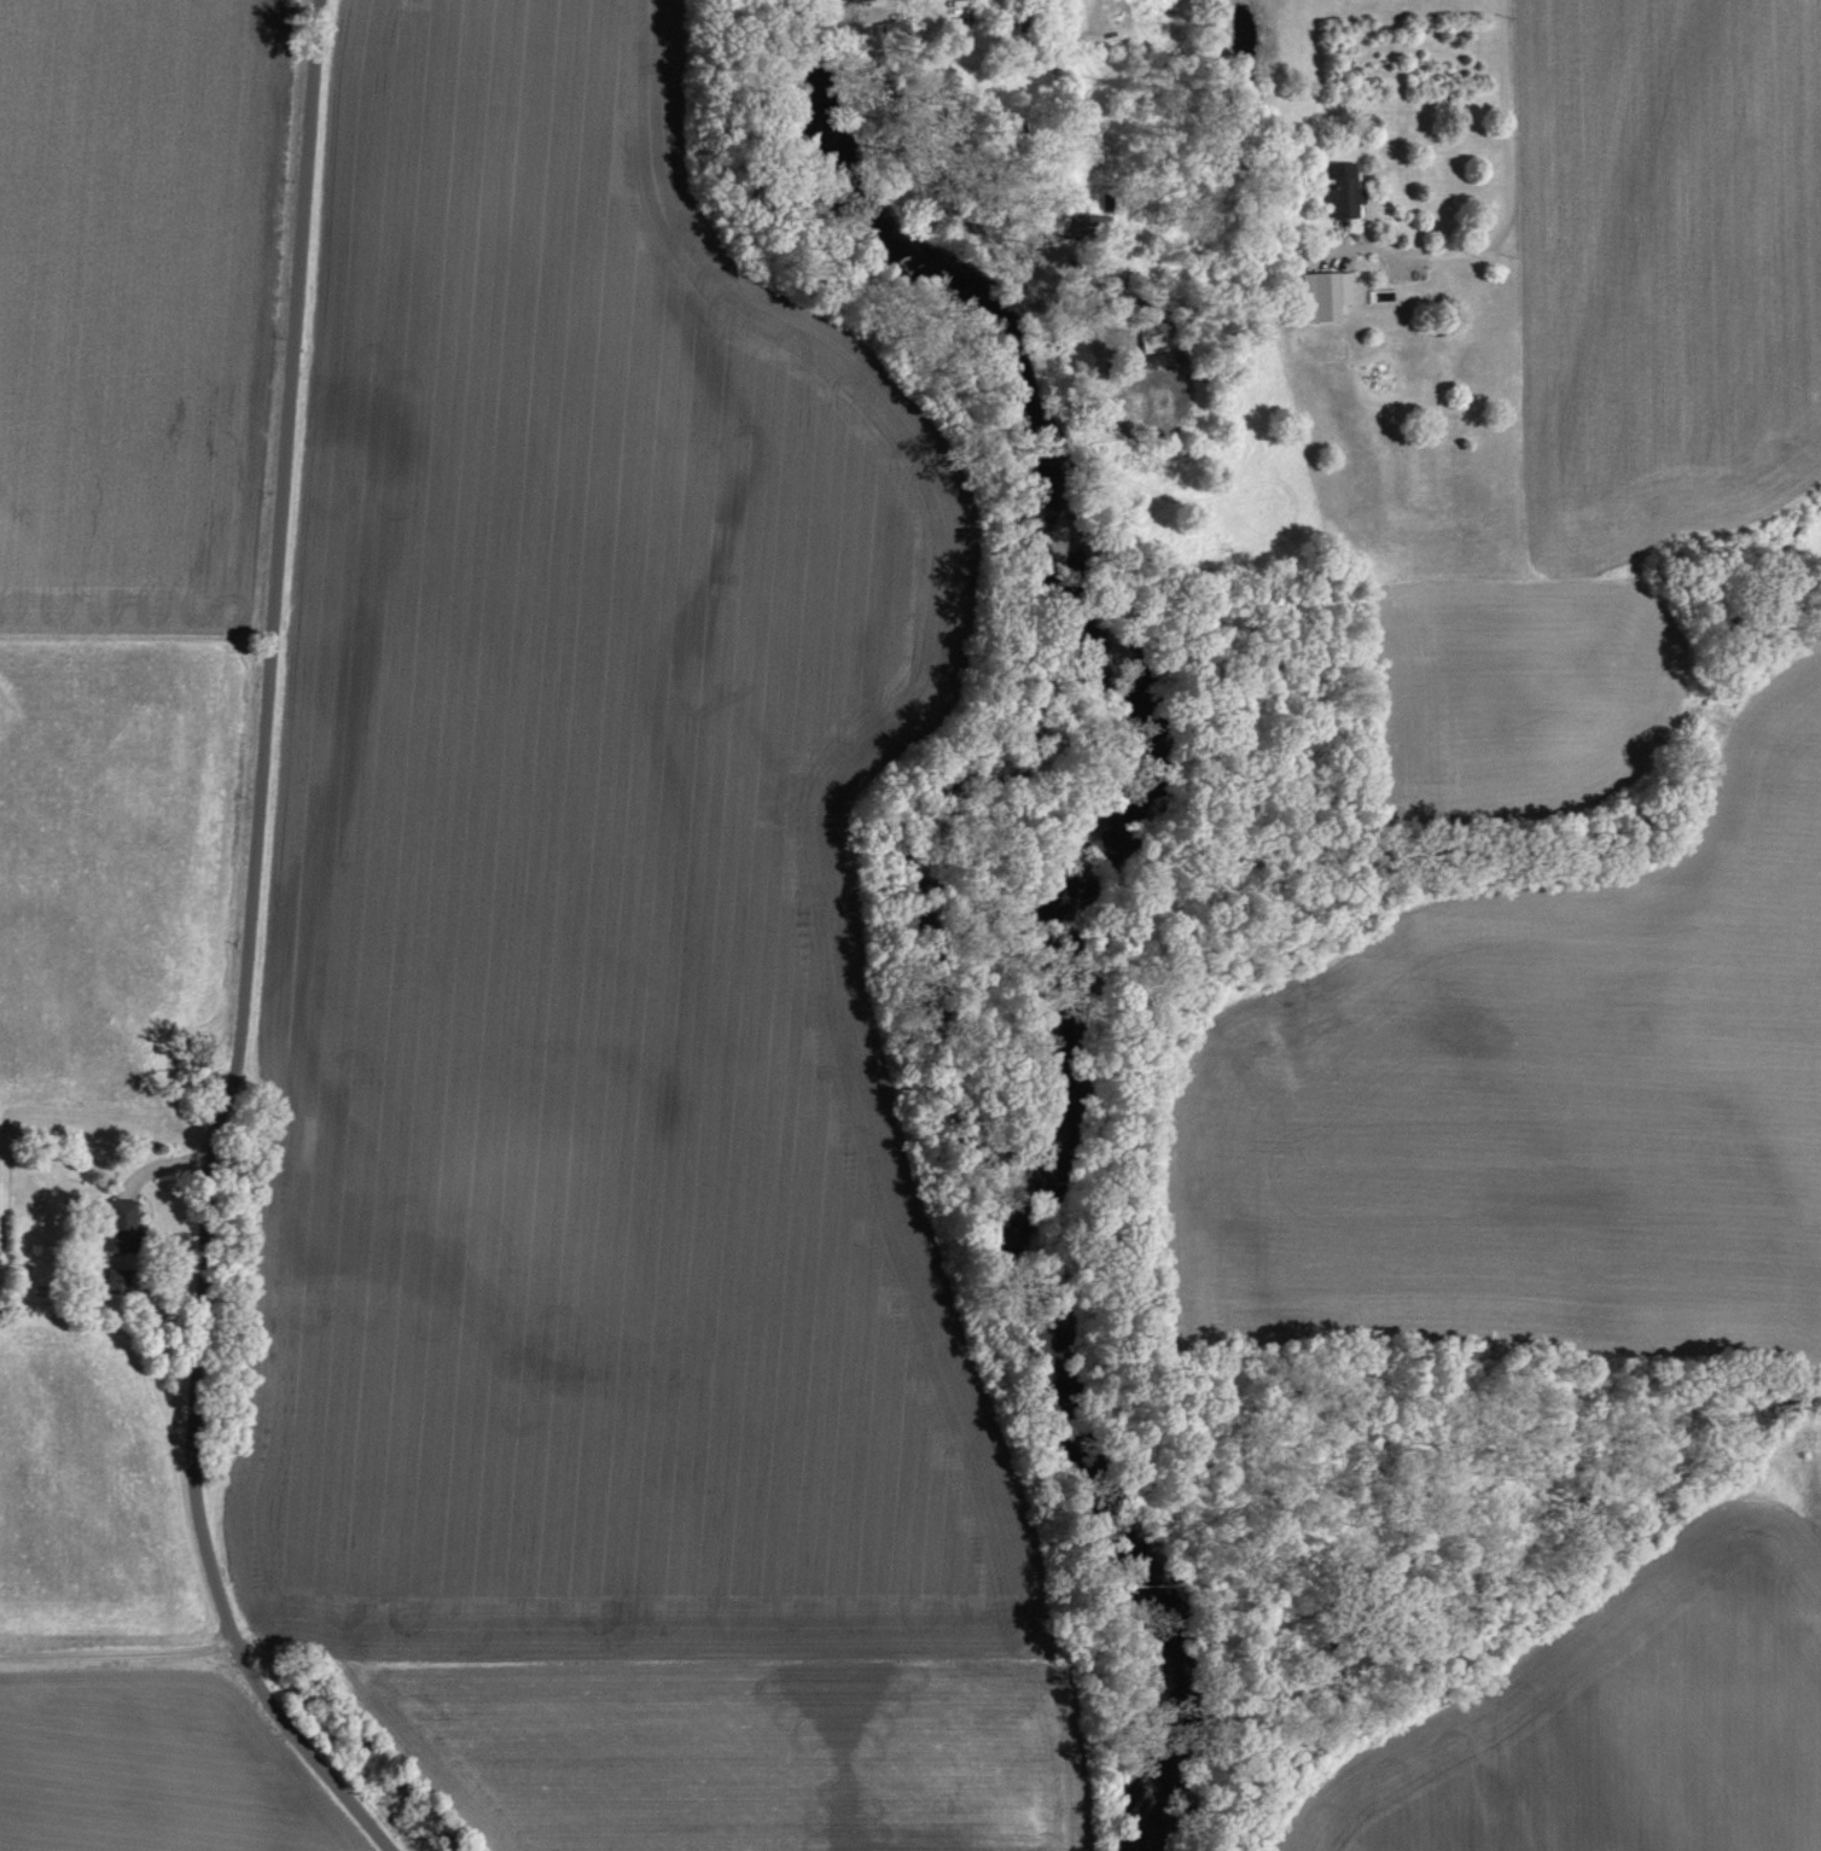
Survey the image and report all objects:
road: (904, 107)
building: (1348, 188)
road: (1512, 203)
building: (1332, 293)
road: (246, 953)
building: (128, 1224)
building: (121, 1280)
road: (118, 1651)

